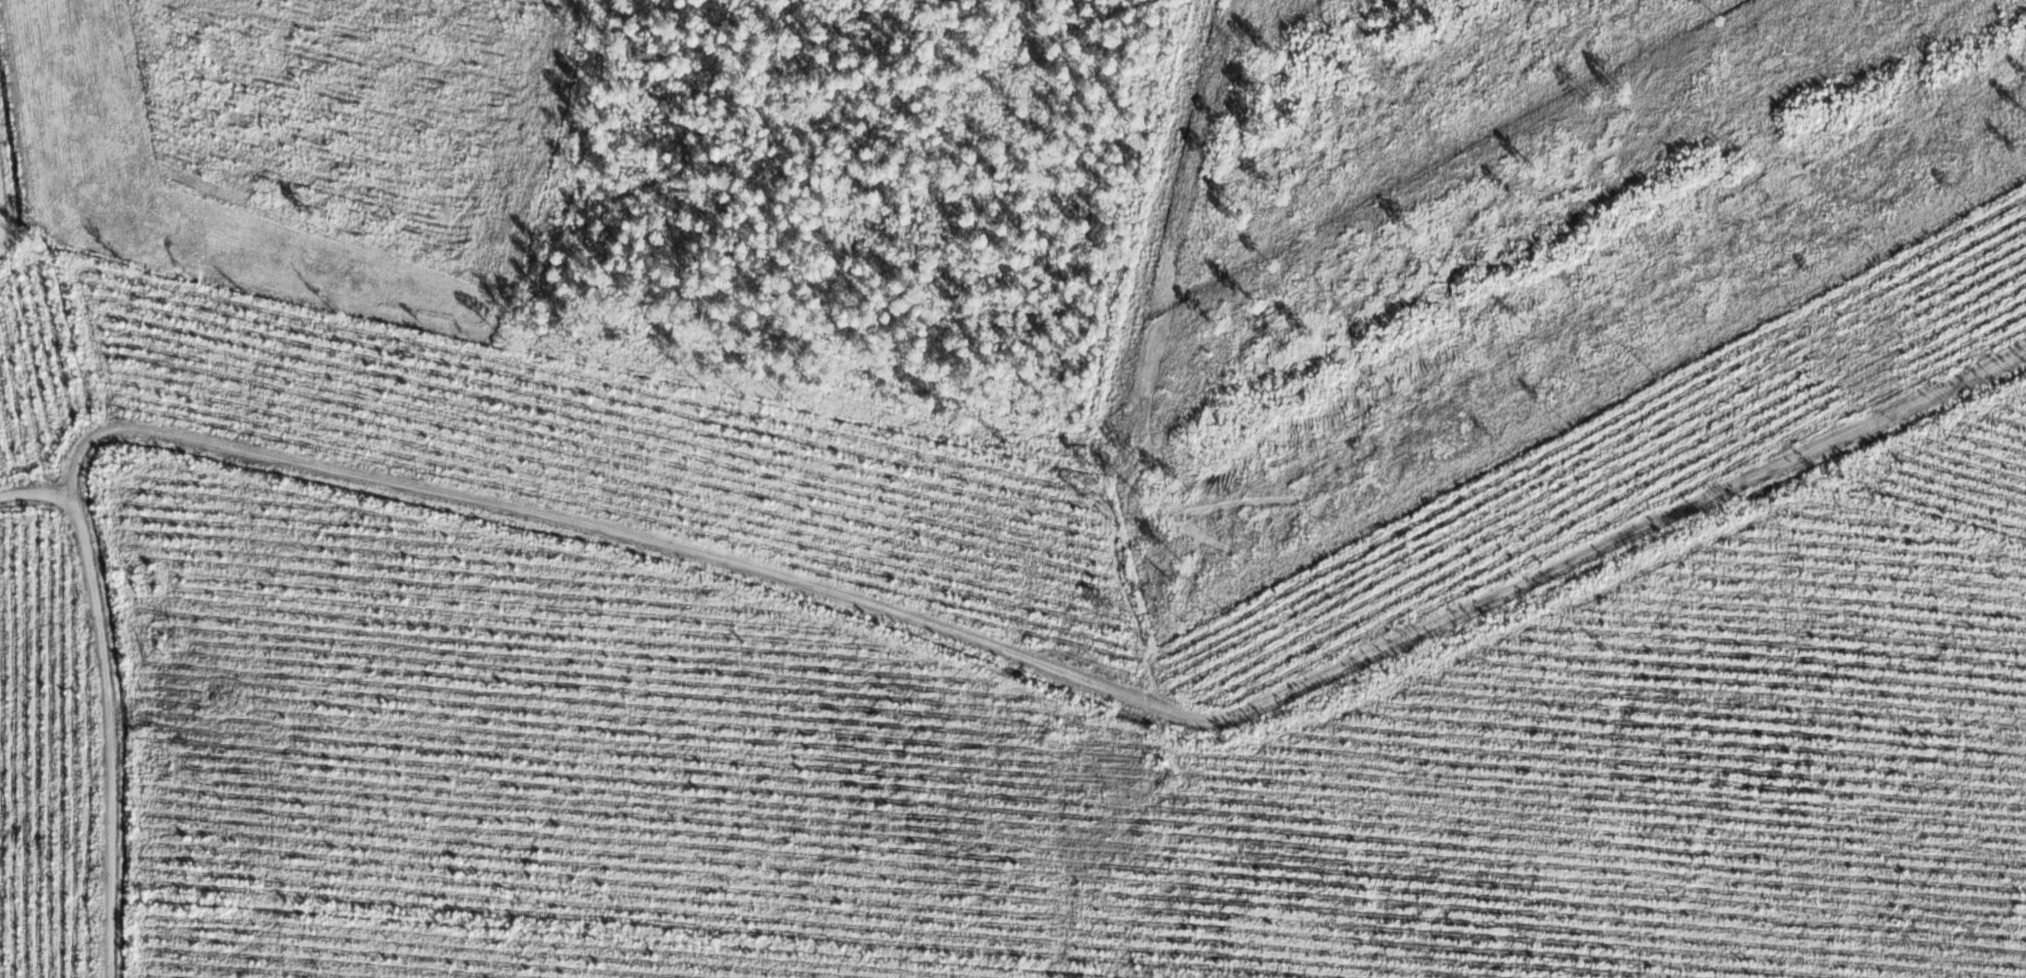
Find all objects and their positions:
road: (27, 552)
road: (846, 668)

